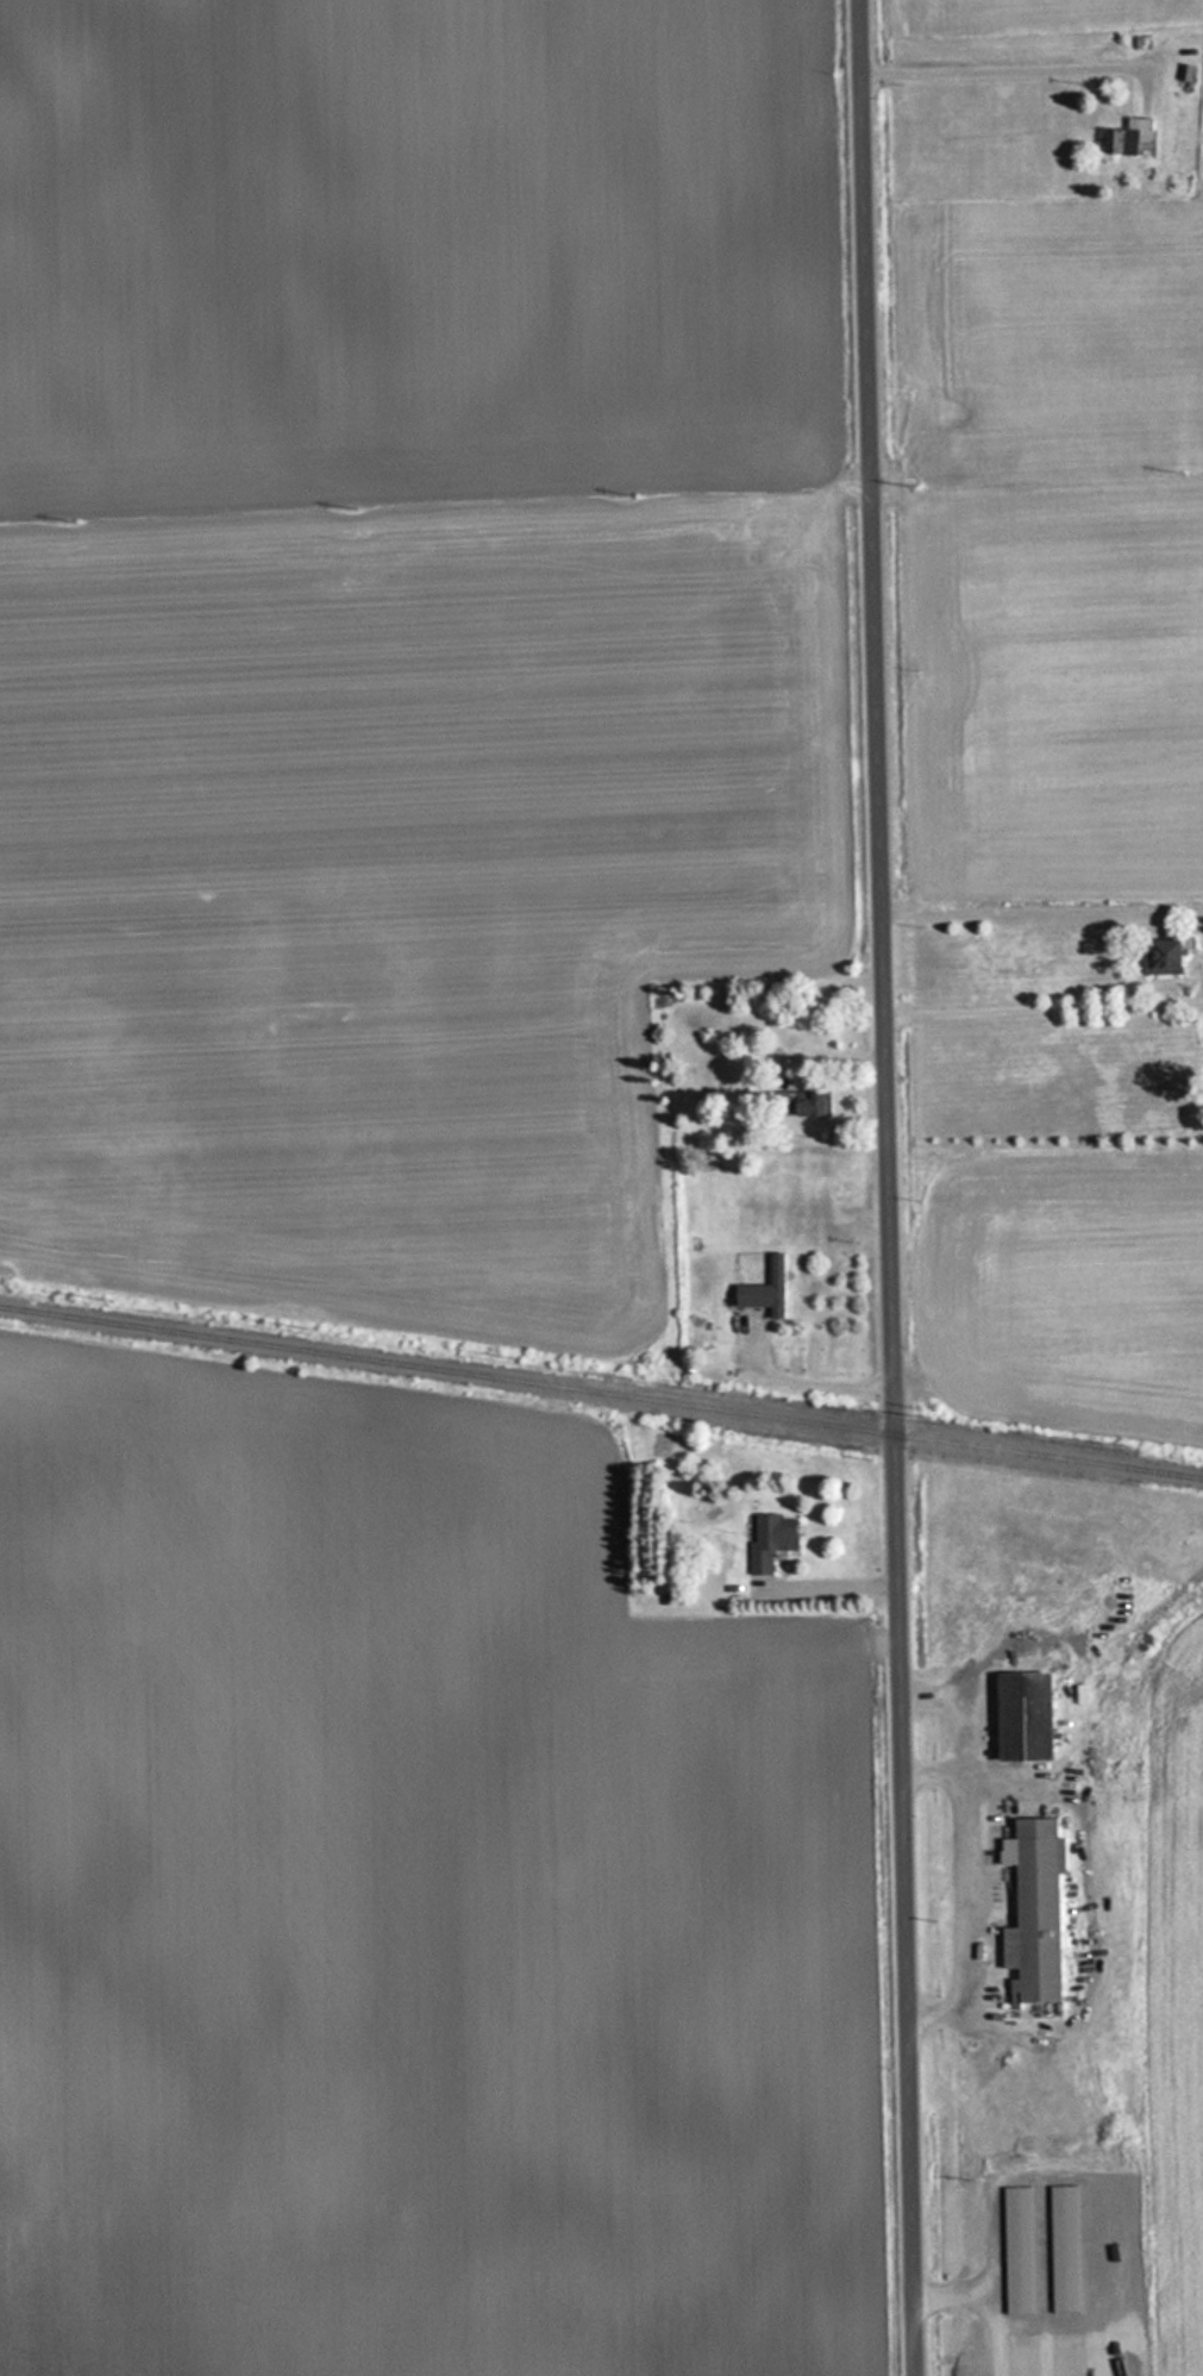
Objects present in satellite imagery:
road: (1021, 69)
building: (1184, 73)
building: (1126, 137)
building: (1163, 955)
building: (800, 1105)
road: (888, 1188)
building: (764, 1290)
railway: (601, 1394)
building: (767, 1539)
building: (1020, 1718)
building: (1032, 1912)

